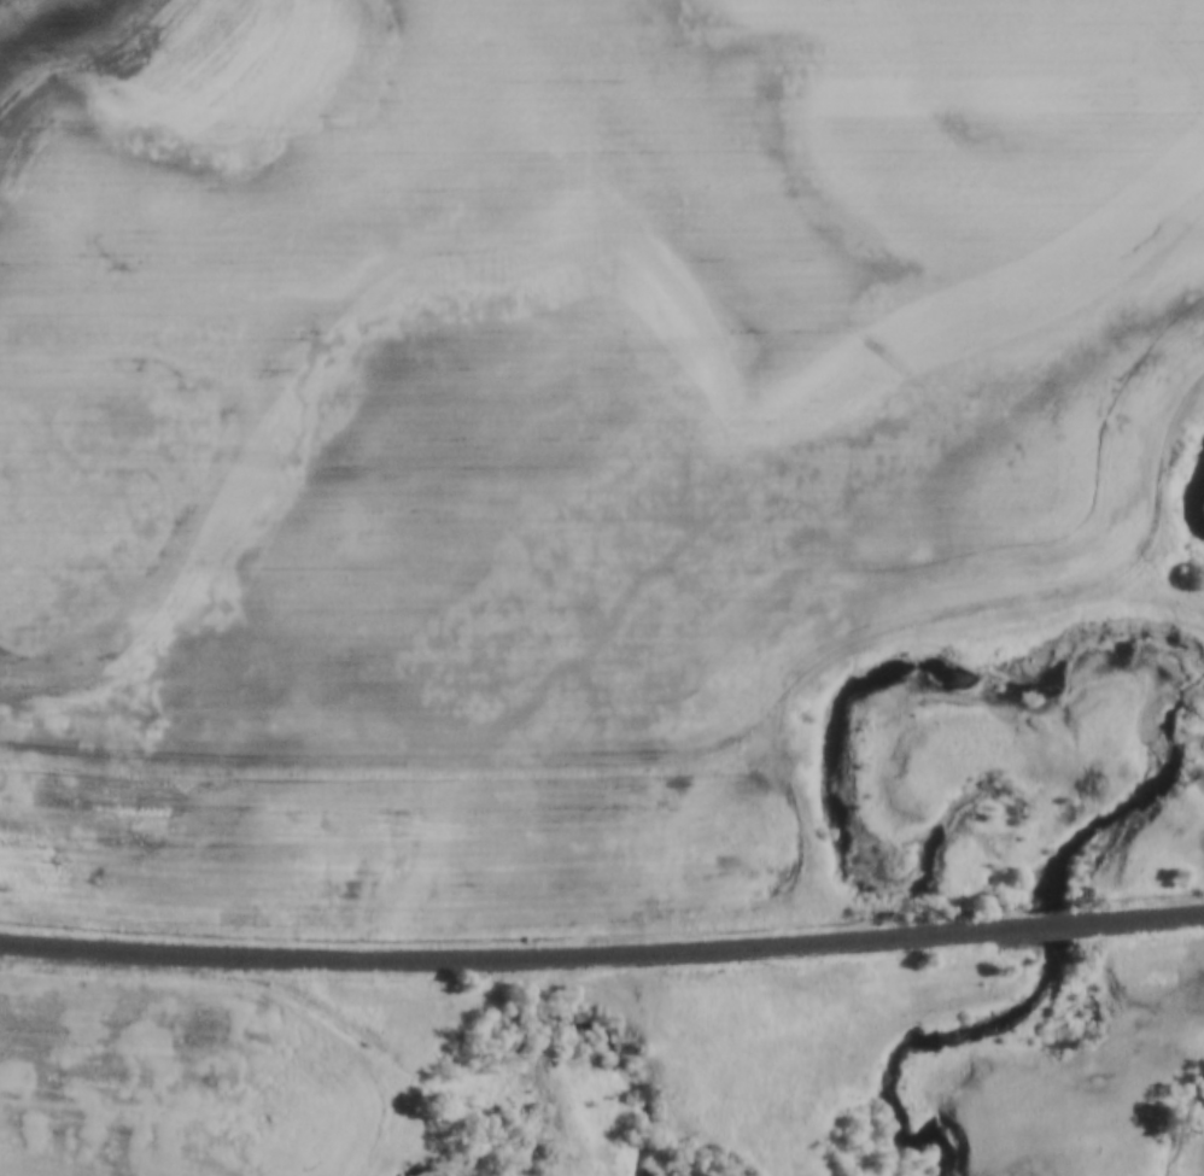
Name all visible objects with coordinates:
road: (1003, 613)
railway: (602, 959)

